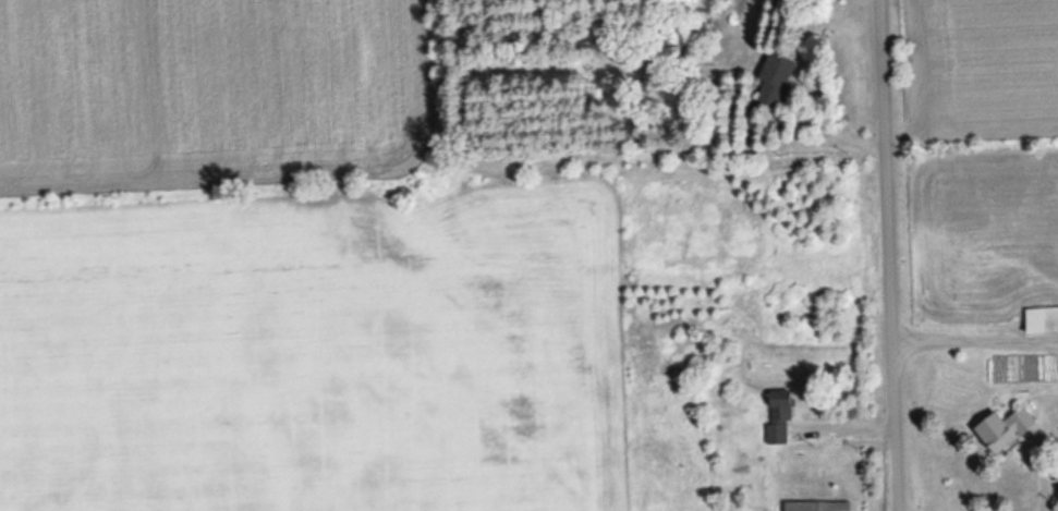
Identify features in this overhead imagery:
building: (668, 58)
building: (781, 78)
road: (880, 255)
building: (1044, 318)
building: (783, 413)
building: (1014, 429)
building: (820, 504)

